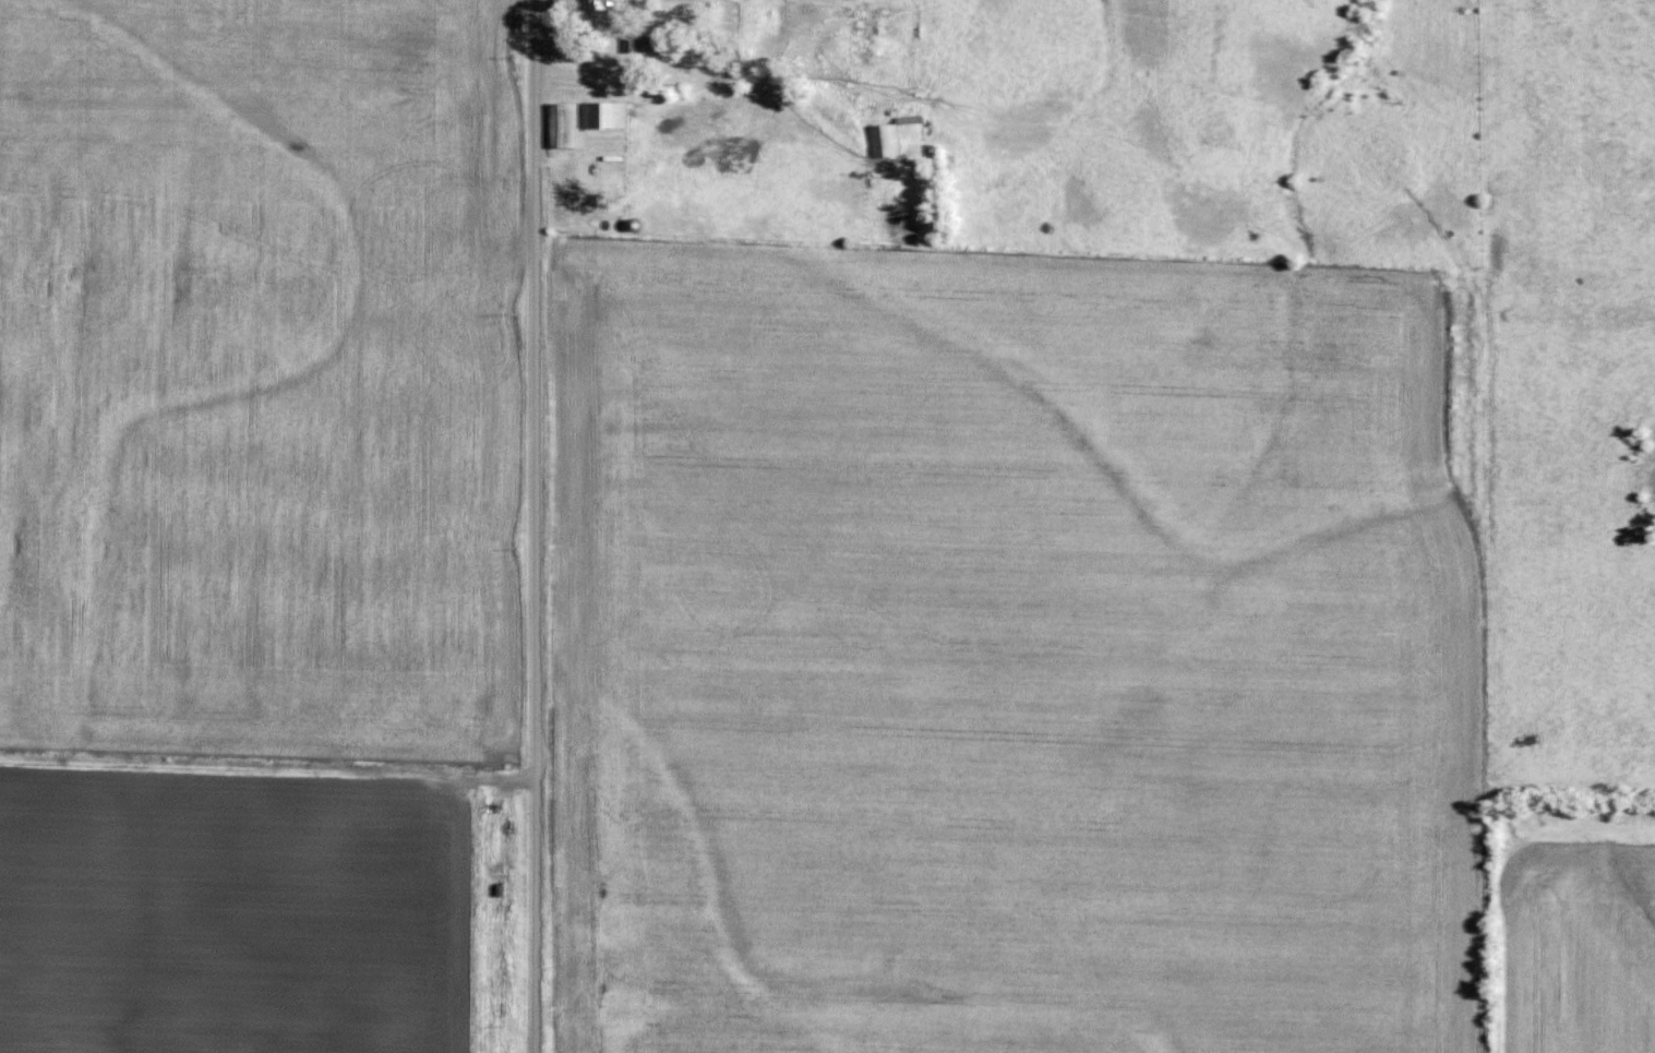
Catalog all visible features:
building: (612, 113)
building: (566, 124)
building: (884, 139)
road: (533, 526)

